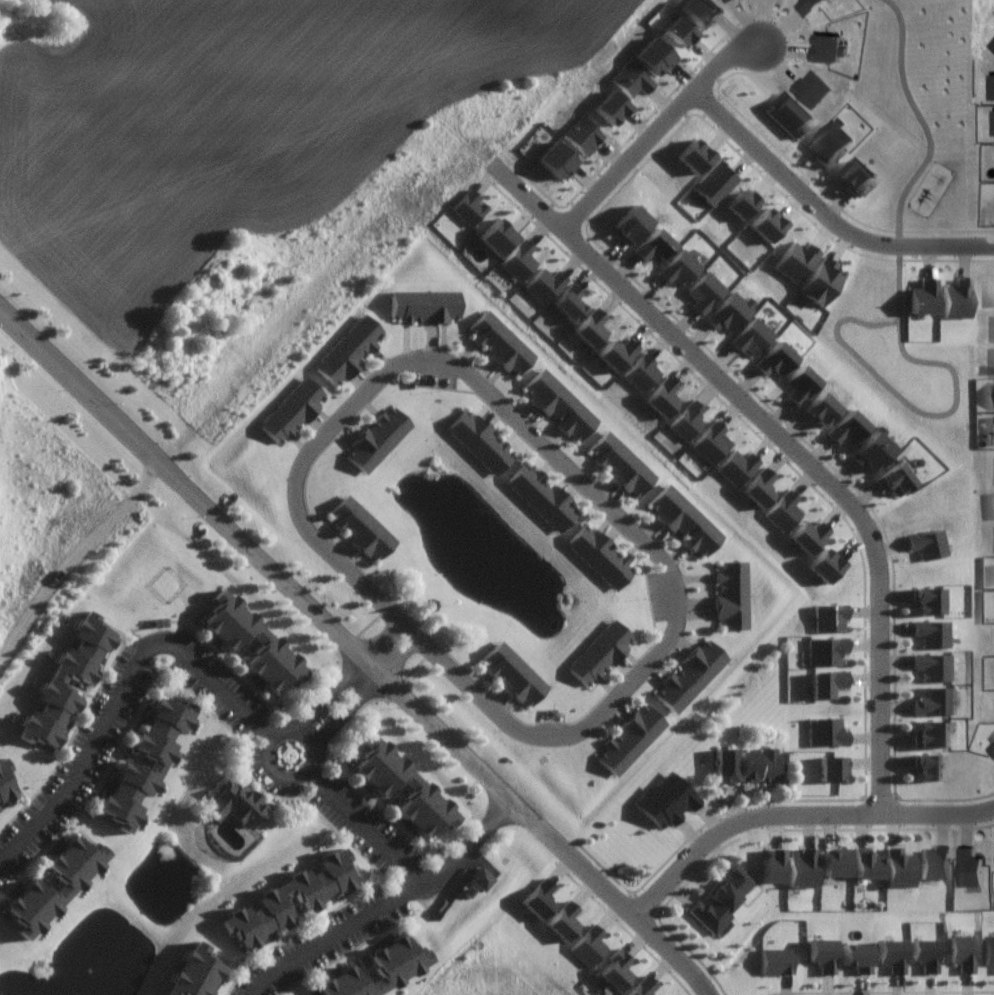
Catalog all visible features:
building: (726, 0)
building: (809, 6)
building: (700, 10)
building: (681, 30)
building: (992, 42)
building: (992, 45)
building: (828, 47)
building: (654, 55)
building: (631, 78)
building: (991, 85)
building: (812, 87)
building: (612, 106)
building: (993, 109)
building: (789, 113)
road: (921, 121)
road: (662, 128)
building: (582, 134)
building: (831, 142)
building: (694, 157)
building: (555, 160)
building: (856, 177)
building: (715, 182)
building: (744, 202)
building: (469, 206)
road: (828, 208)
building: (630, 224)
building: (768, 224)
building: (497, 237)
building: (653, 246)
building: (519, 260)
building: (797, 261)
building: (679, 267)
building: (822, 281)
building: (544, 284)
building: (704, 291)
building: (923, 298)
building: (958, 299)
building: (570, 304)
building: (426, 306)
building: (729, 310)
building: (592, 327)
building: (750, 337)
building: (500, 342)
building: (349, 349)
building: (618, 351)
building: (775, 359)
building: (643, 373)
building: (800, 383)
building: (664, 396)
building: (559, 404)
building: (819, 408)
building: (292, 409)
road: (944, 413)
building: (688, 420)
building: (846, 426)
building: (378, 438)
building: (480, 439)
building: (712, 440)
road: (794, 442)
building: (871, 449)
building: (621, 462)
building: (737, 465)
road: (301, 478)
building: (894, 478)
building: (762, 488)
building: (542, 496)
building: (783, 510)
building: (684, 518)
building: (361, 526)
fountain: (456, 531)
building: (807, 536)
building: (925, 544)
building: (600, 555)
building: (825, 565)
building: (732, 594)
building: (928, 599)
road: (681, 609)
building: (831, 618)
building: (932, 633)
road: (385, 634)
building: (251, 641)
road: (360, 649)
building: (826, 650)
building: (598, 652)
road: (406, 654)
building: (933, 666)
building: (512, 673)
building: (690, 675)
building: (57, 679)
building: (828, 683)
road: (126, 689)
road: (331, 693)
building: (936, 701)
road: (349, 710)
building: (827, 732)
building: (933, 734)
building: (630, 738)
building: (991, 747)
building: (747, 765)
building: (131, 766)
building: (928, 766)
building: (832, 768)
road: (288, 780)
building: (5, 782)
building: (403, 786)
building: (666, 800)
building: (234, 803)
road: (799, 815)
road: (473, 845)
building: (835, 861)
building: (868, 863)
building: (936, 863)
building: (773, 867)
building: (901, 867)
building: (968, 867)
building: (803, 868)
building: (482, 879)
building: (72, 885)
road: (403, 893)
building: (540, 898)
building: (272, 899)
building: (724, 899)
building: (564, 920)
building: (588, 945)
building: (990, 950)
building: (964, 952)
building: (823, 953)
building: (926, 953)
building: (892, 954)
building: (857, 956)
building: (776, 960)
fountain: (87, 964)
building: (378, 969)
building: (616, 971)
building: (197, 973)
building: (642, 987)

